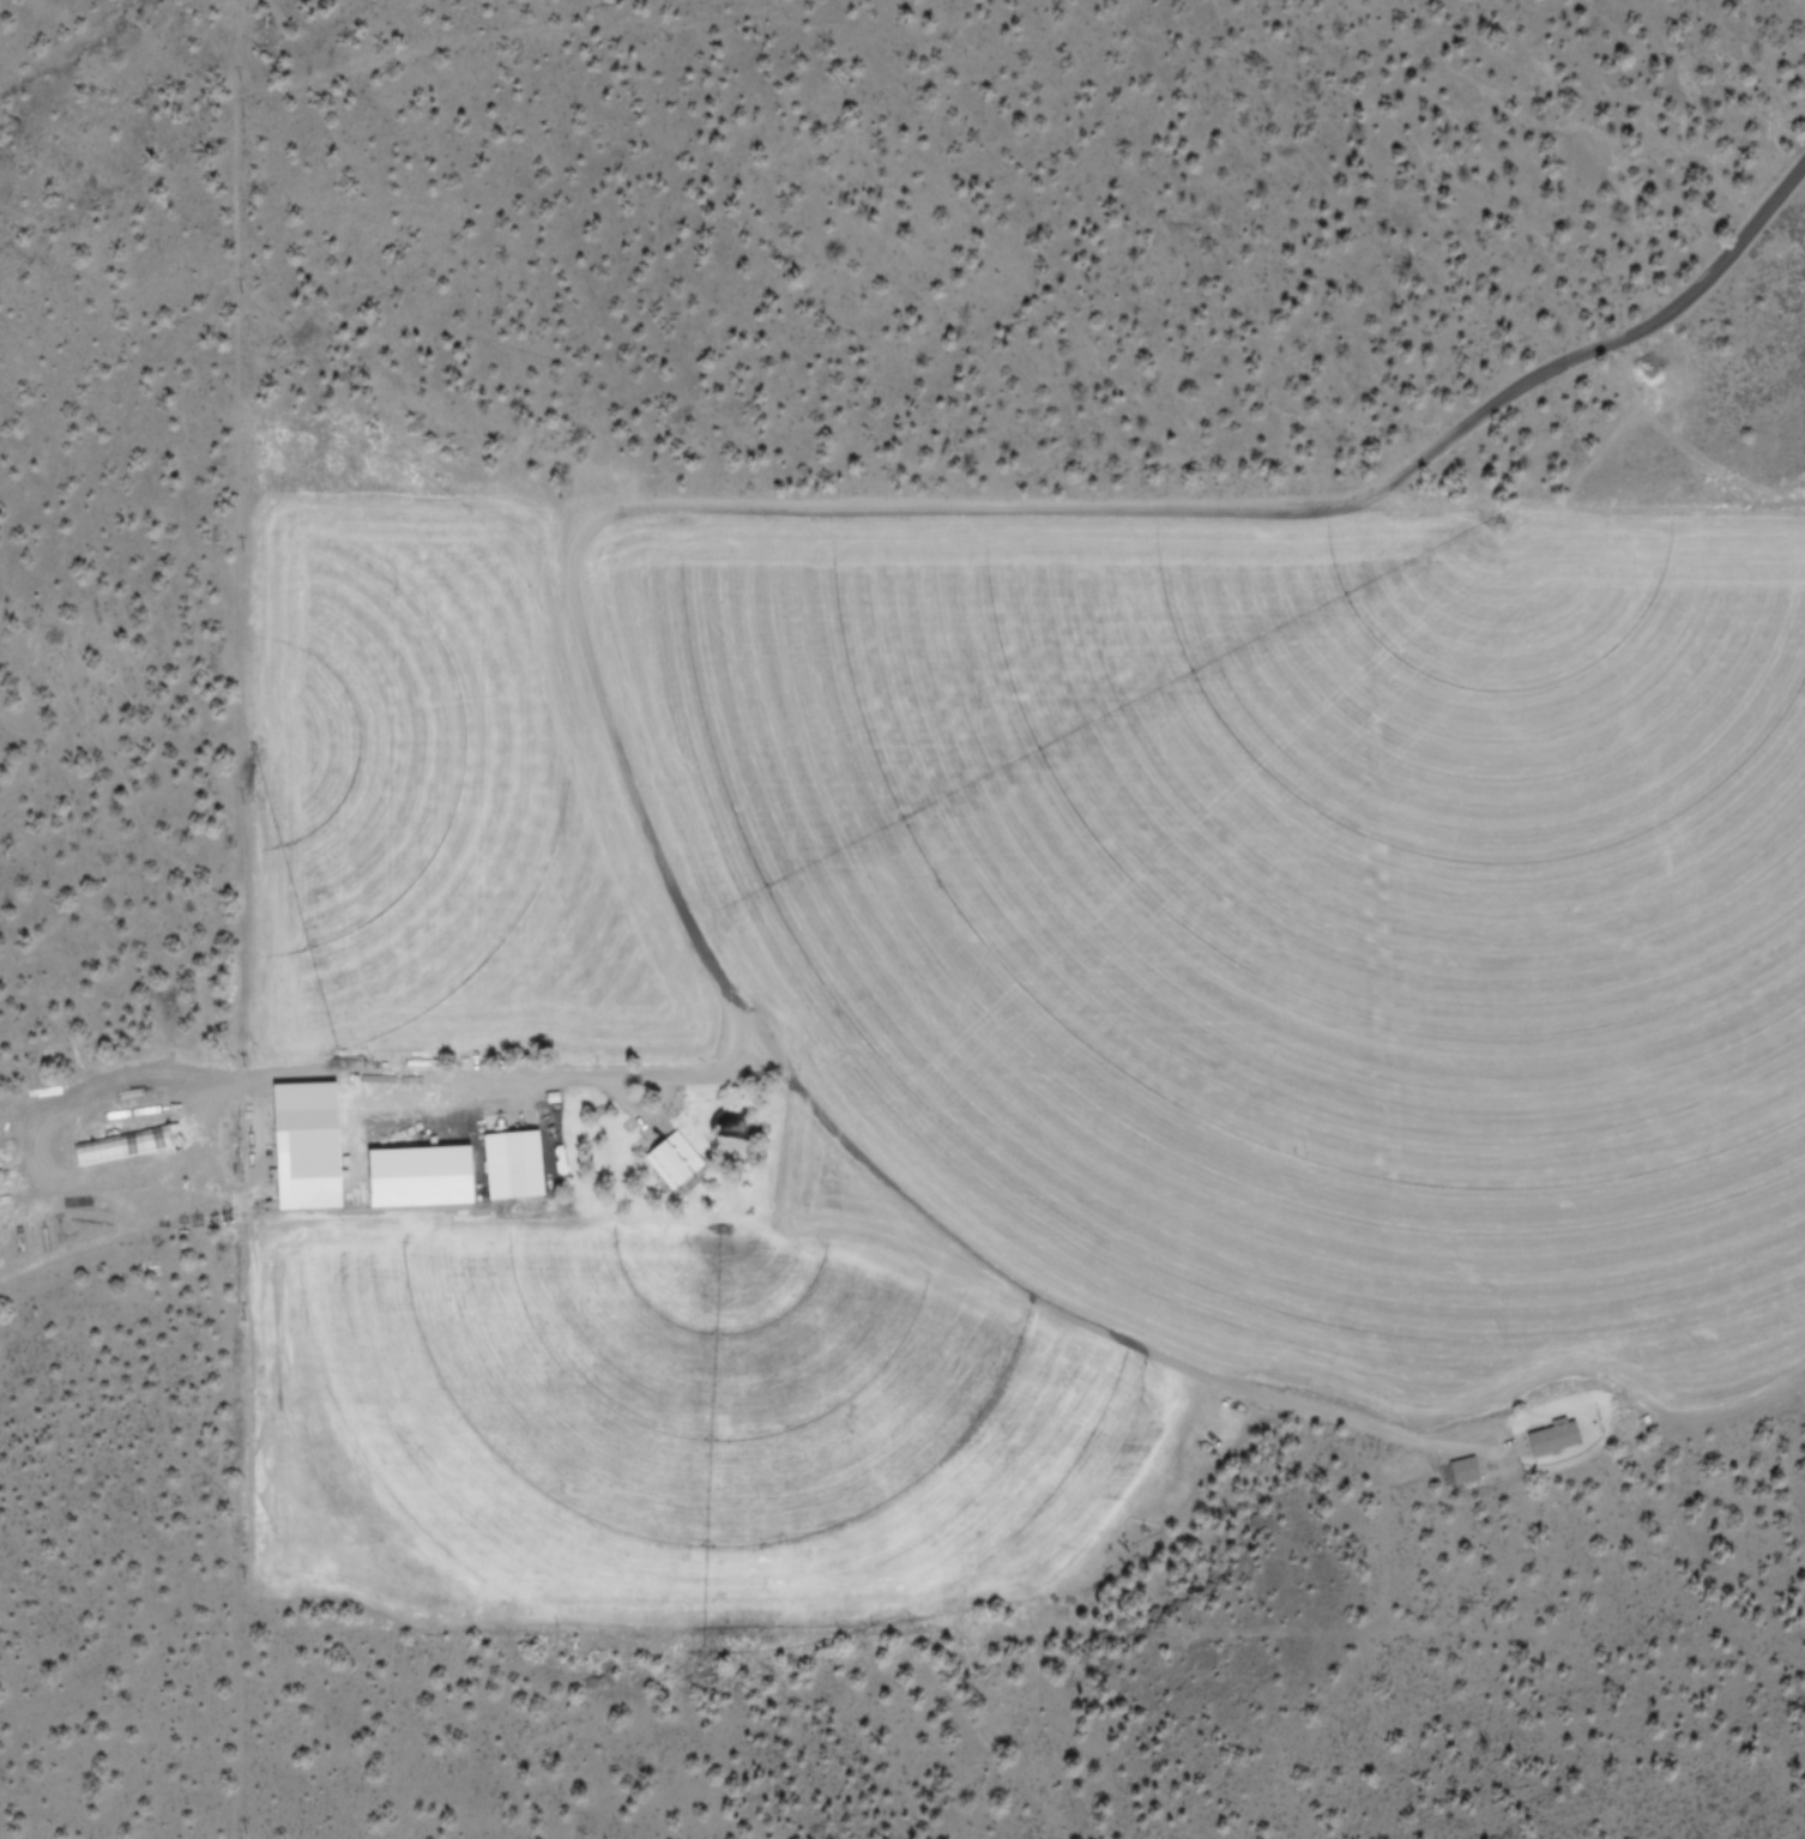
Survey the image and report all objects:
road: (1038, 869)
building: (127, 1142)
building: (310, 1144)
building: (672, 1159)
building: (513, 1163)
building: (423, 1175)
building: (1553, 1435)
building: (1465, 1467)

